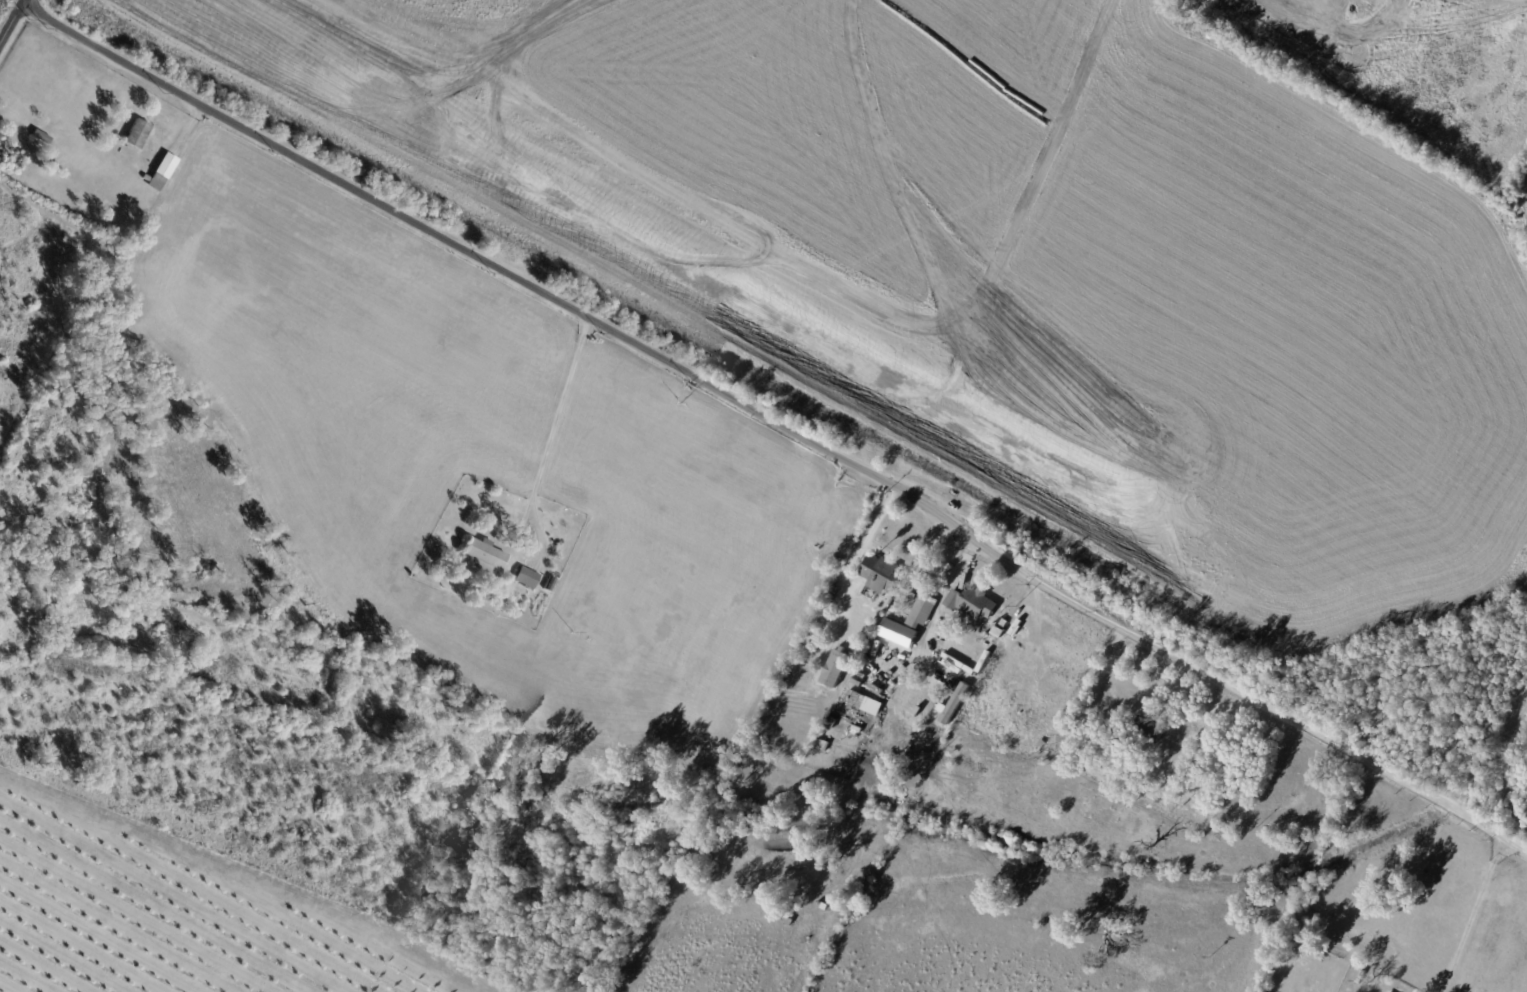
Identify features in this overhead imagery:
building: (1383, 8)
road: (14, 25)
building: (139, 136)
building: (42, 139)
building: (56, 147)
building: (11, 158)
building: (162, 174)
building: (53, 202)
quarry: (1001, 265)
road: (779, 425)
road: (557, 431)
building: (486, 556)
road: (858, 556)
building: (883, 575)
building: (528, 578)
building: (550, 585)
building: (974, 603)
building: (923, 611)
building: (897, 632)
building: (836, 668)
building: (954, 703)
building: (1153, 728)
building: (1065, 735)
building: (1042, 744)
building: (1131, 796)
building: (1205, 814)
building: (825, 907)
crop: (179, 914)
road: (1470, 917)
building: (1043, 925)
building: (1363, 978)

